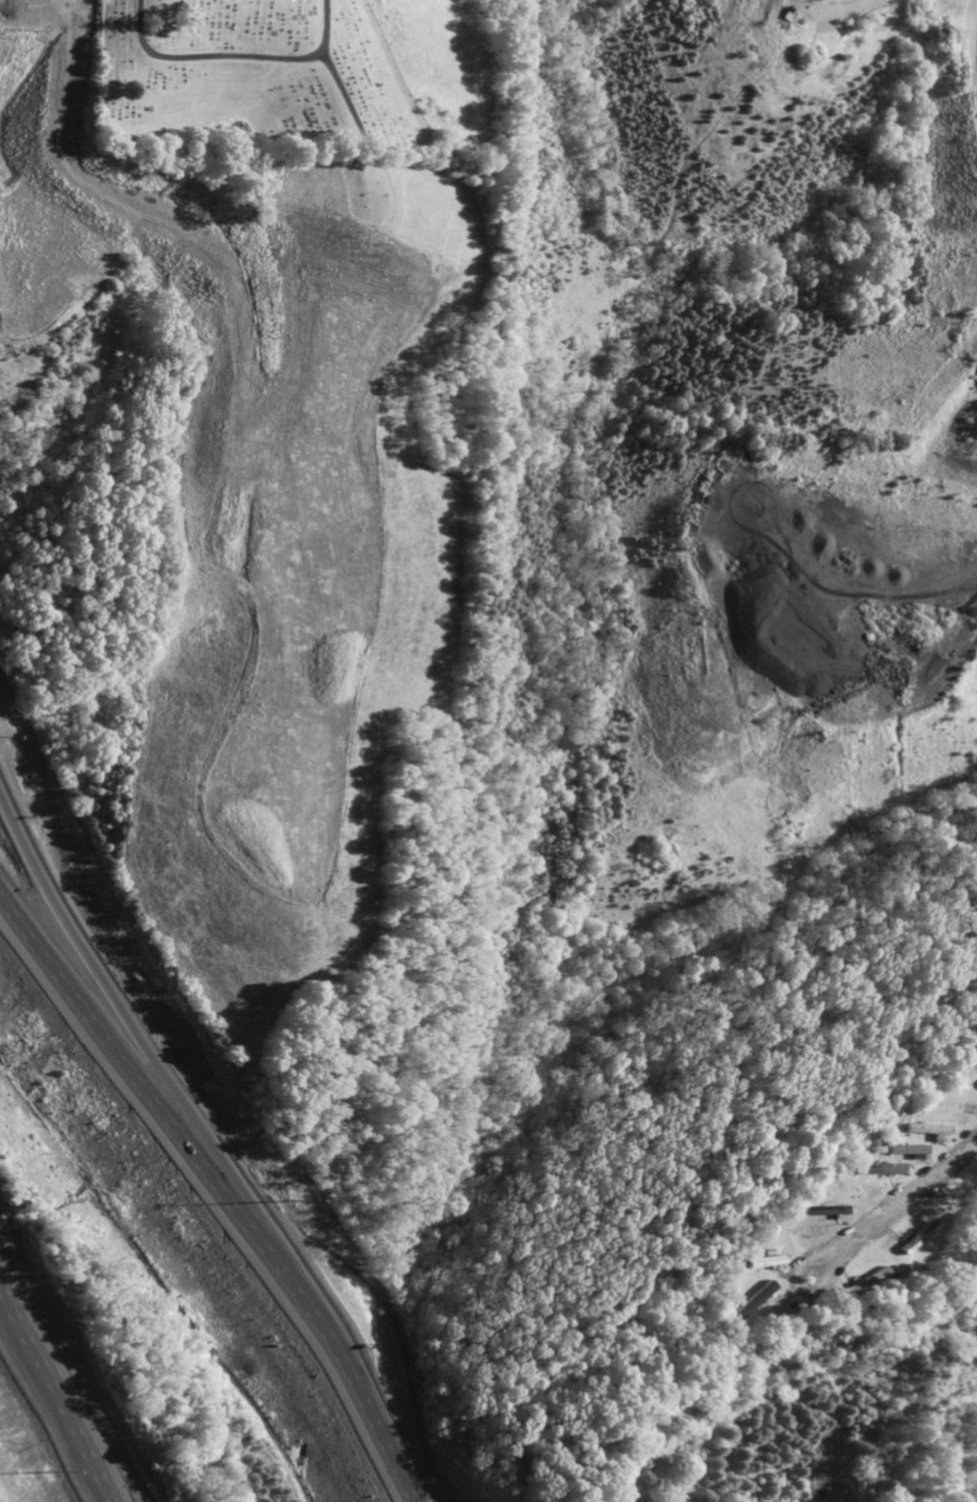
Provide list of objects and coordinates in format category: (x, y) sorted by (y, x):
park: (258, 82)
road: (134, 1024)
building: (975, 1083)
building: (924, 1129)
building: (903, 1149)
building: (878, 1168)
road: (220, 1190)
road: (893, 1201)
building: (912, 1237)
building: (763, 1261)
building: (752, 1299)
road: (43, 1412)
road: (46, 1414)

